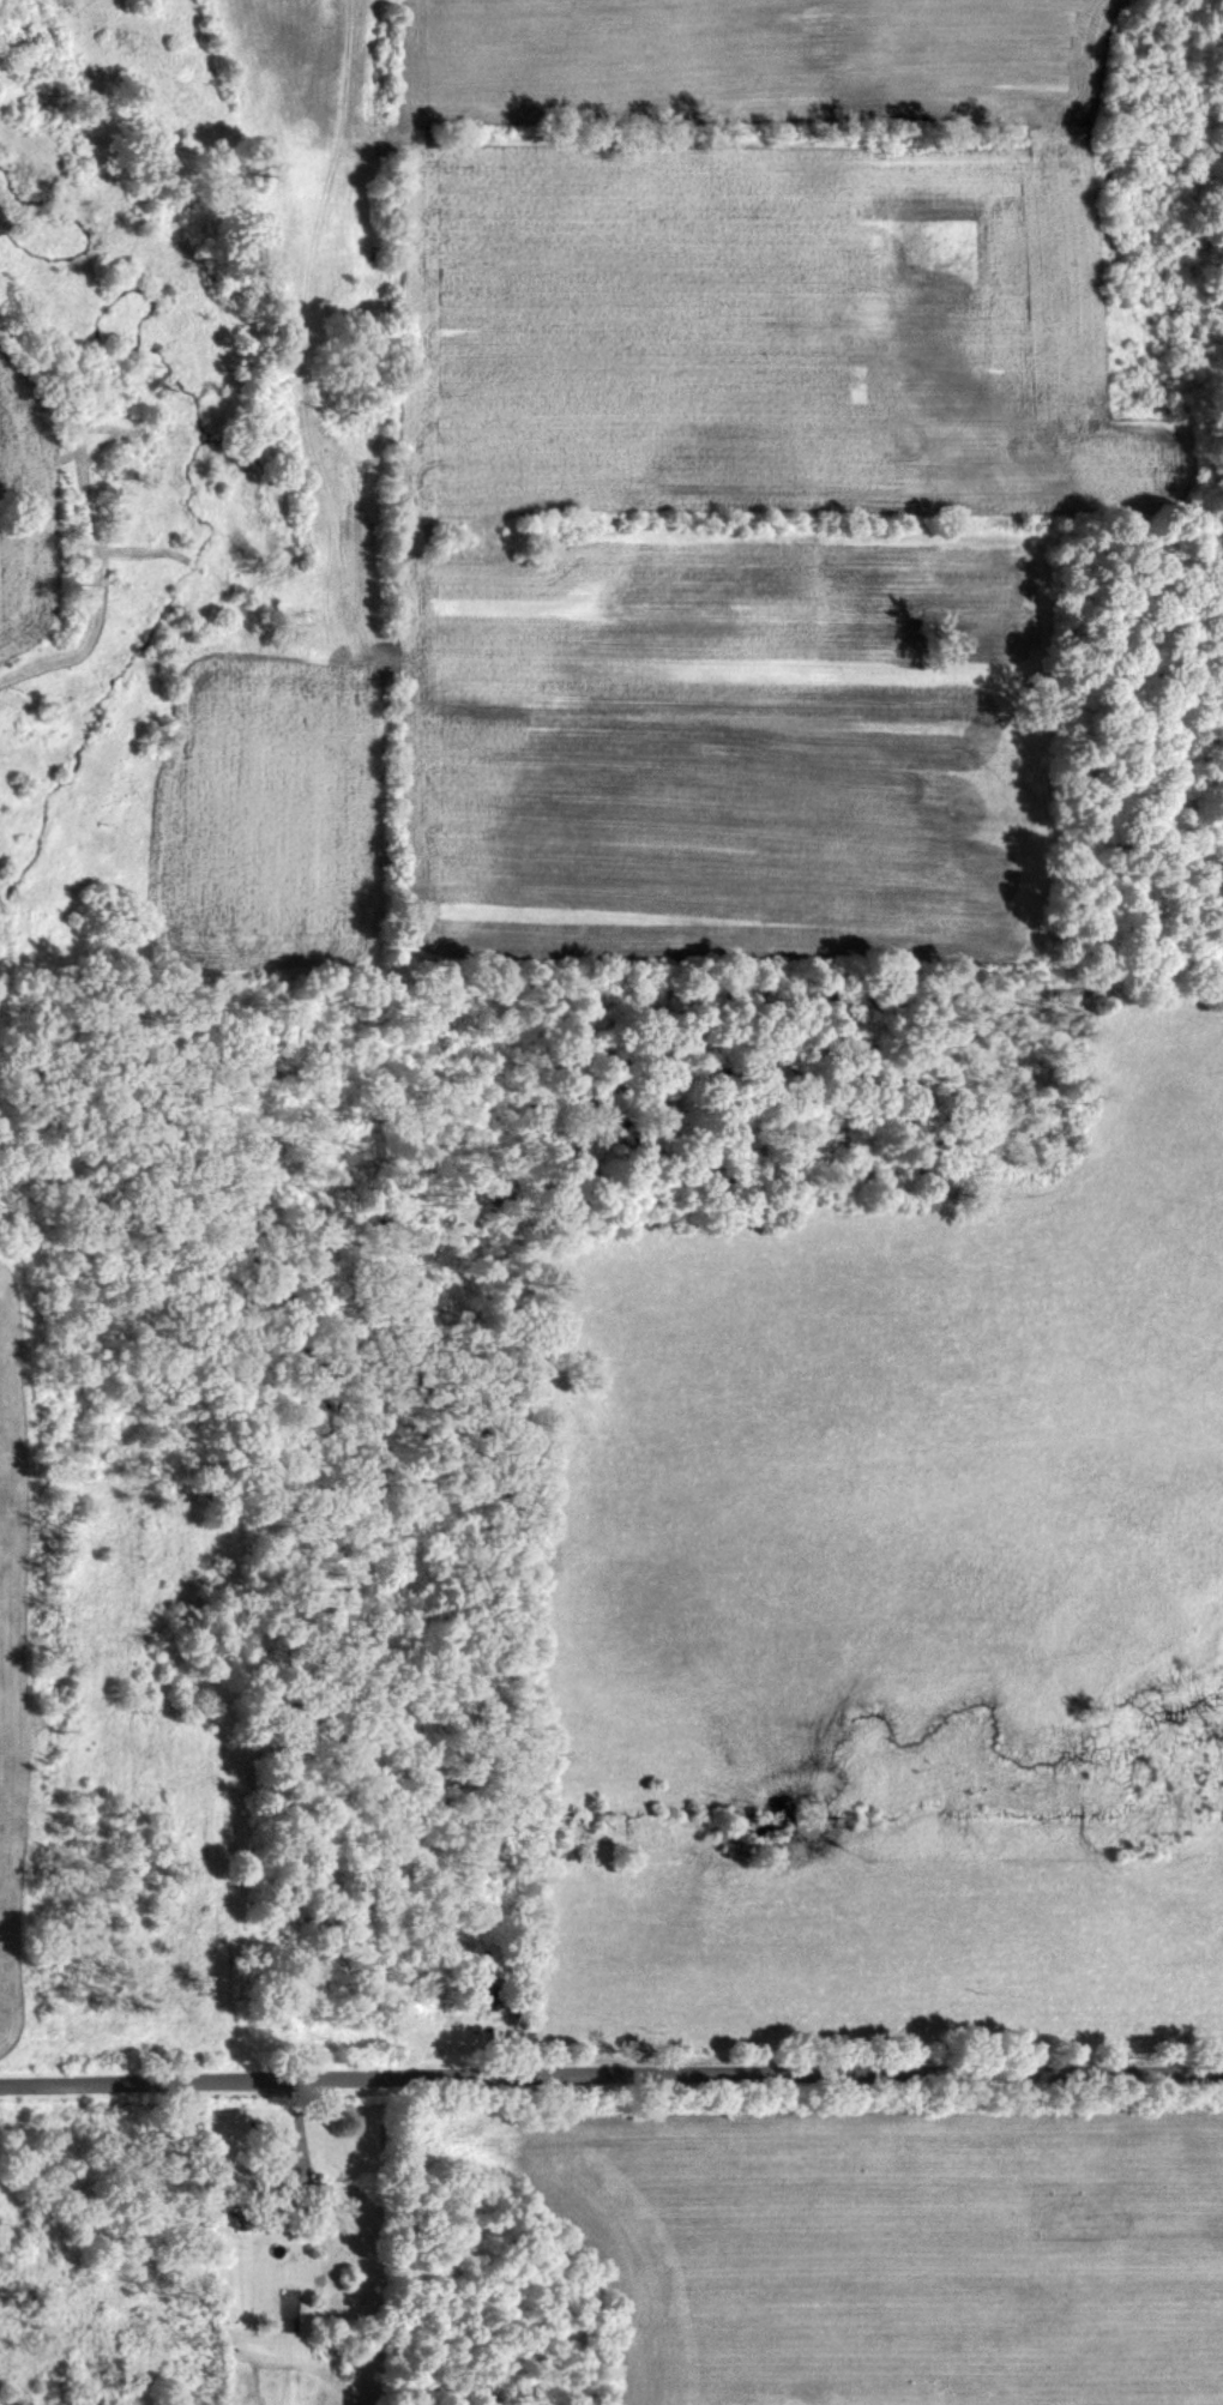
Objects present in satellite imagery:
road: (610, 2079)
building: (273, 2159)
building: (306, 2195)

